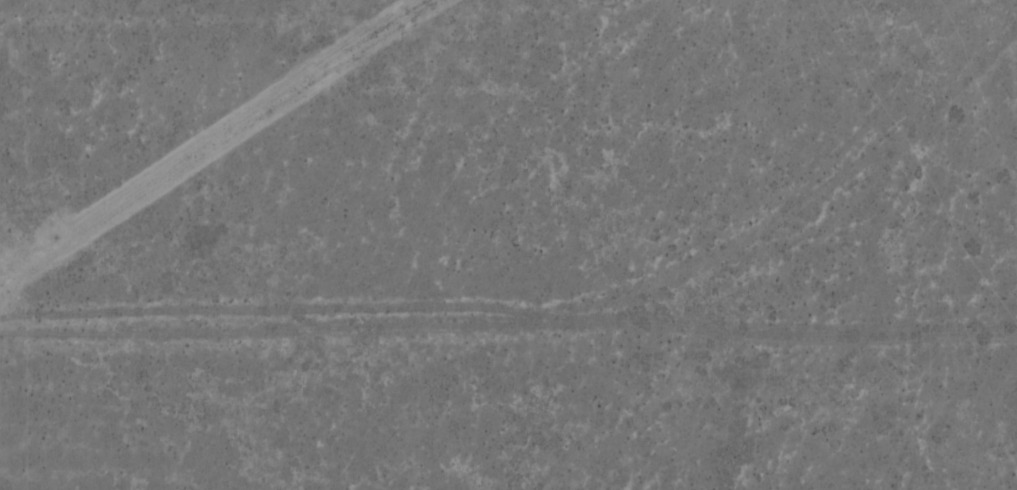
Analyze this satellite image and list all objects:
road: (508, 325)

